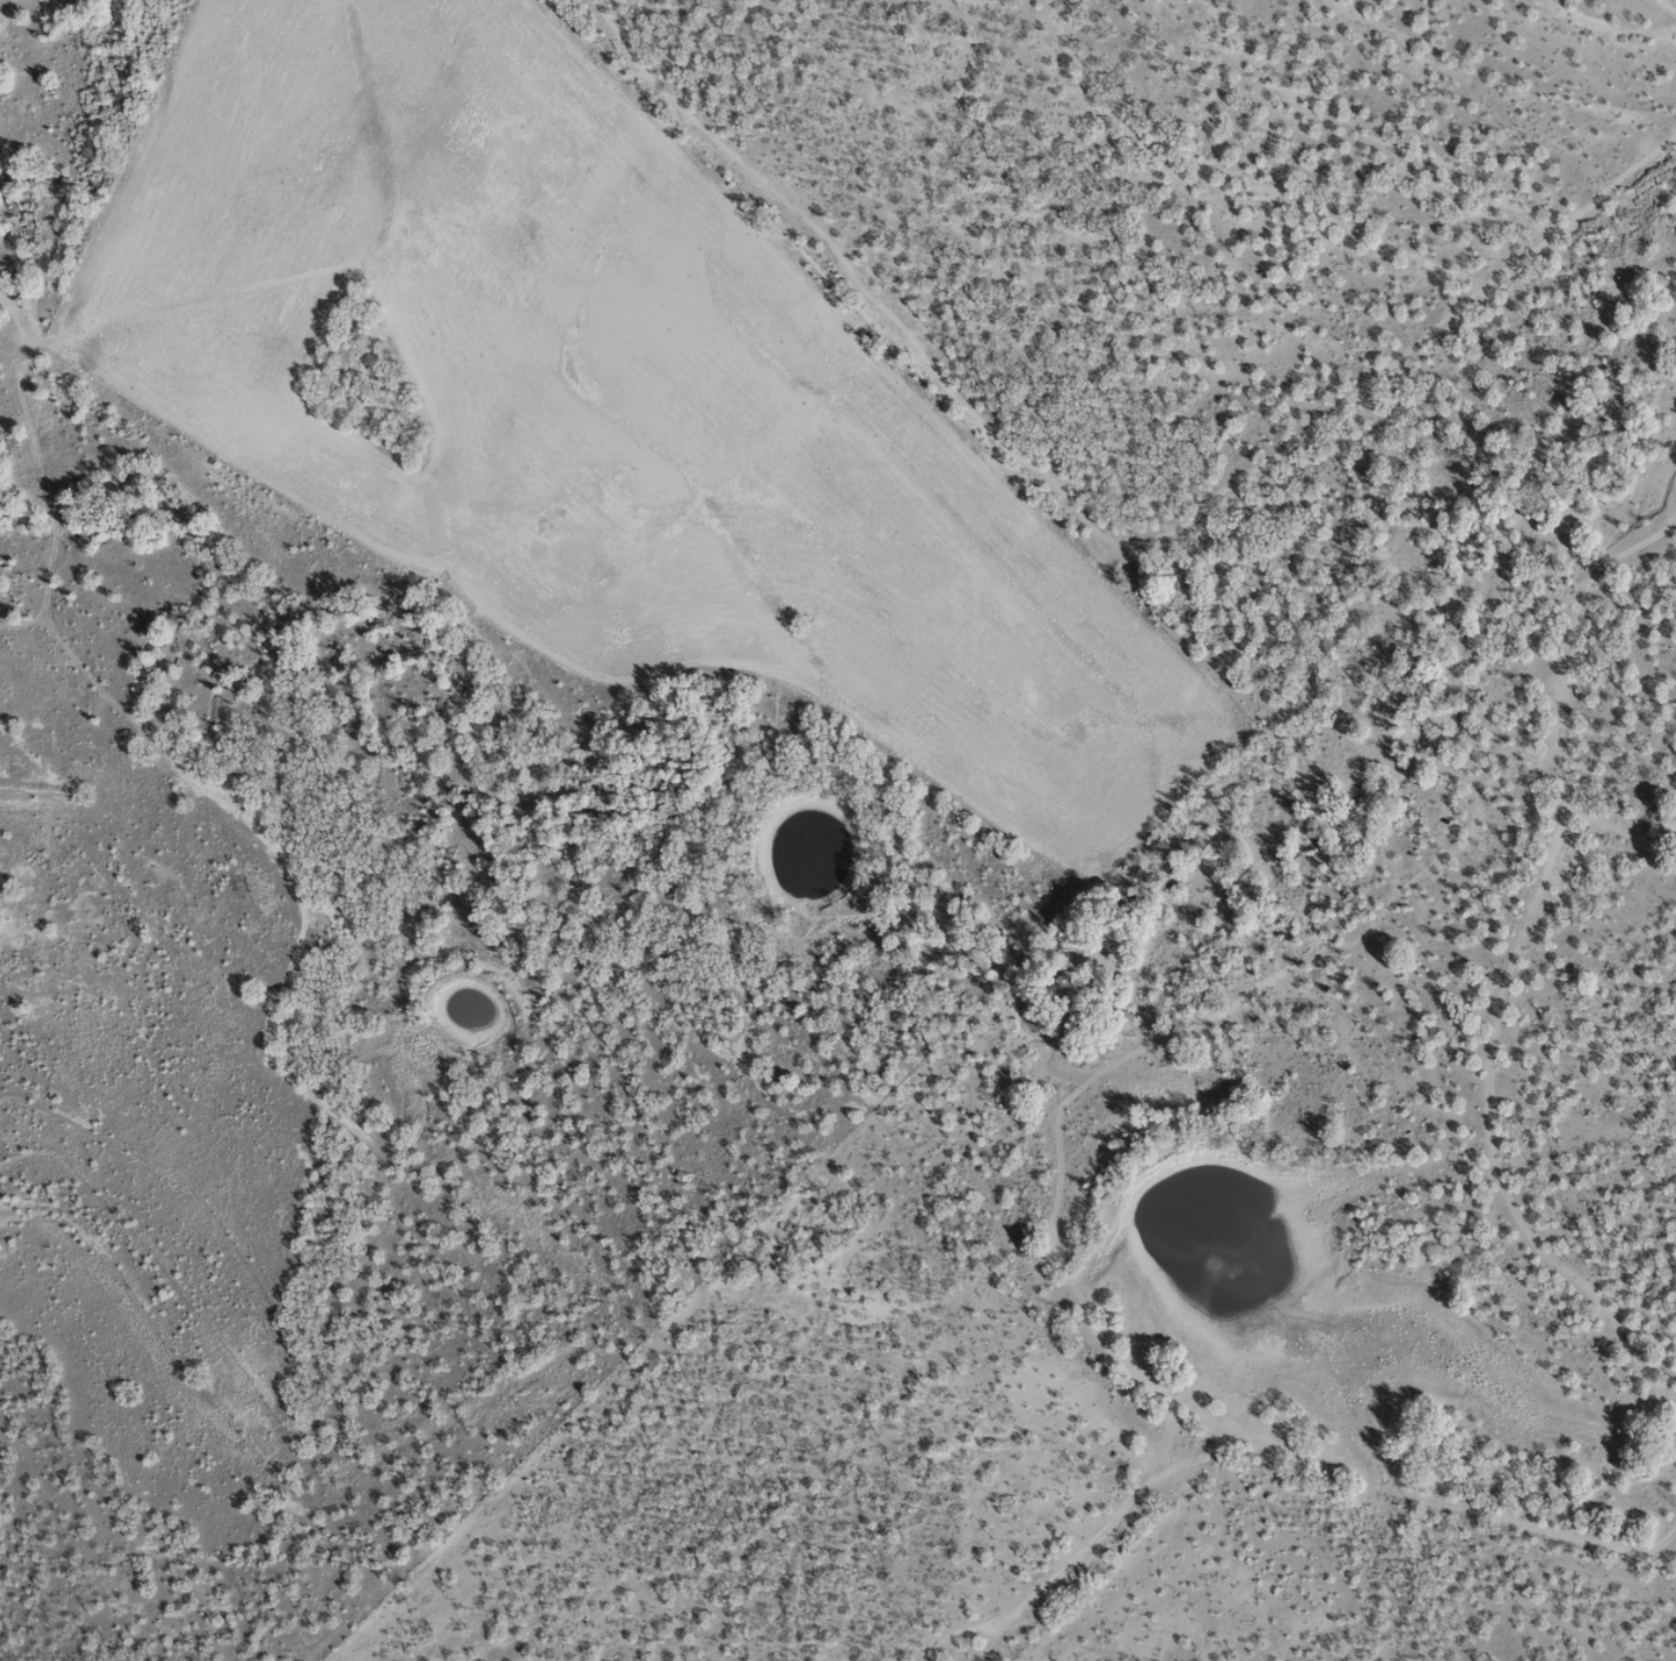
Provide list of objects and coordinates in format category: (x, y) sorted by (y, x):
road: (60, 643)

